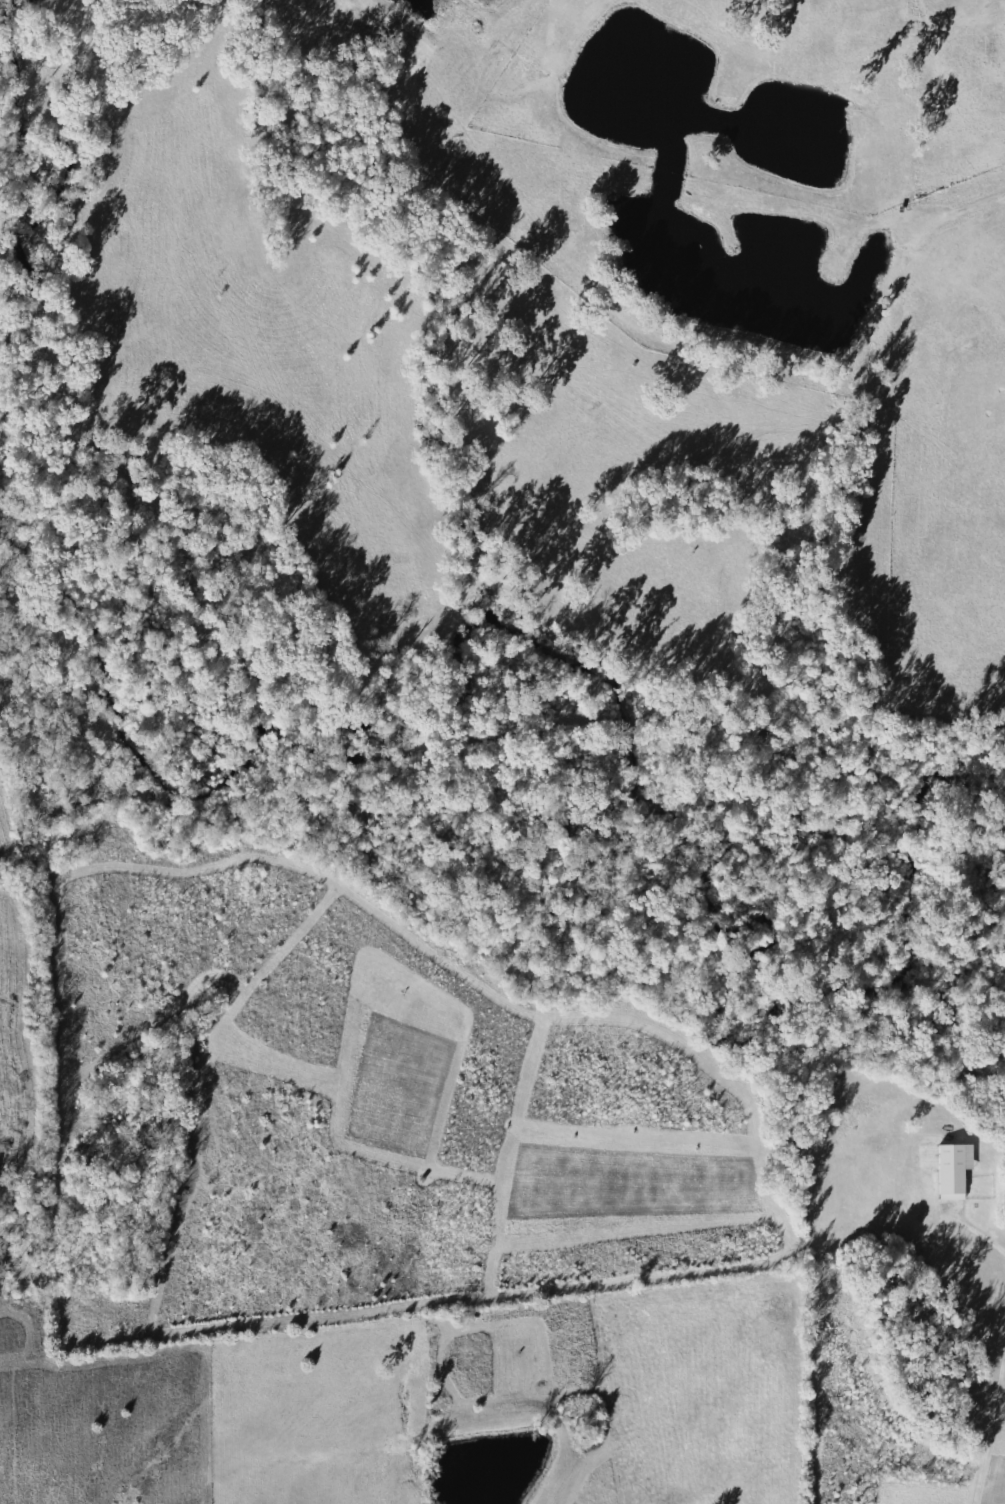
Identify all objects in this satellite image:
building: (959, 1170)

